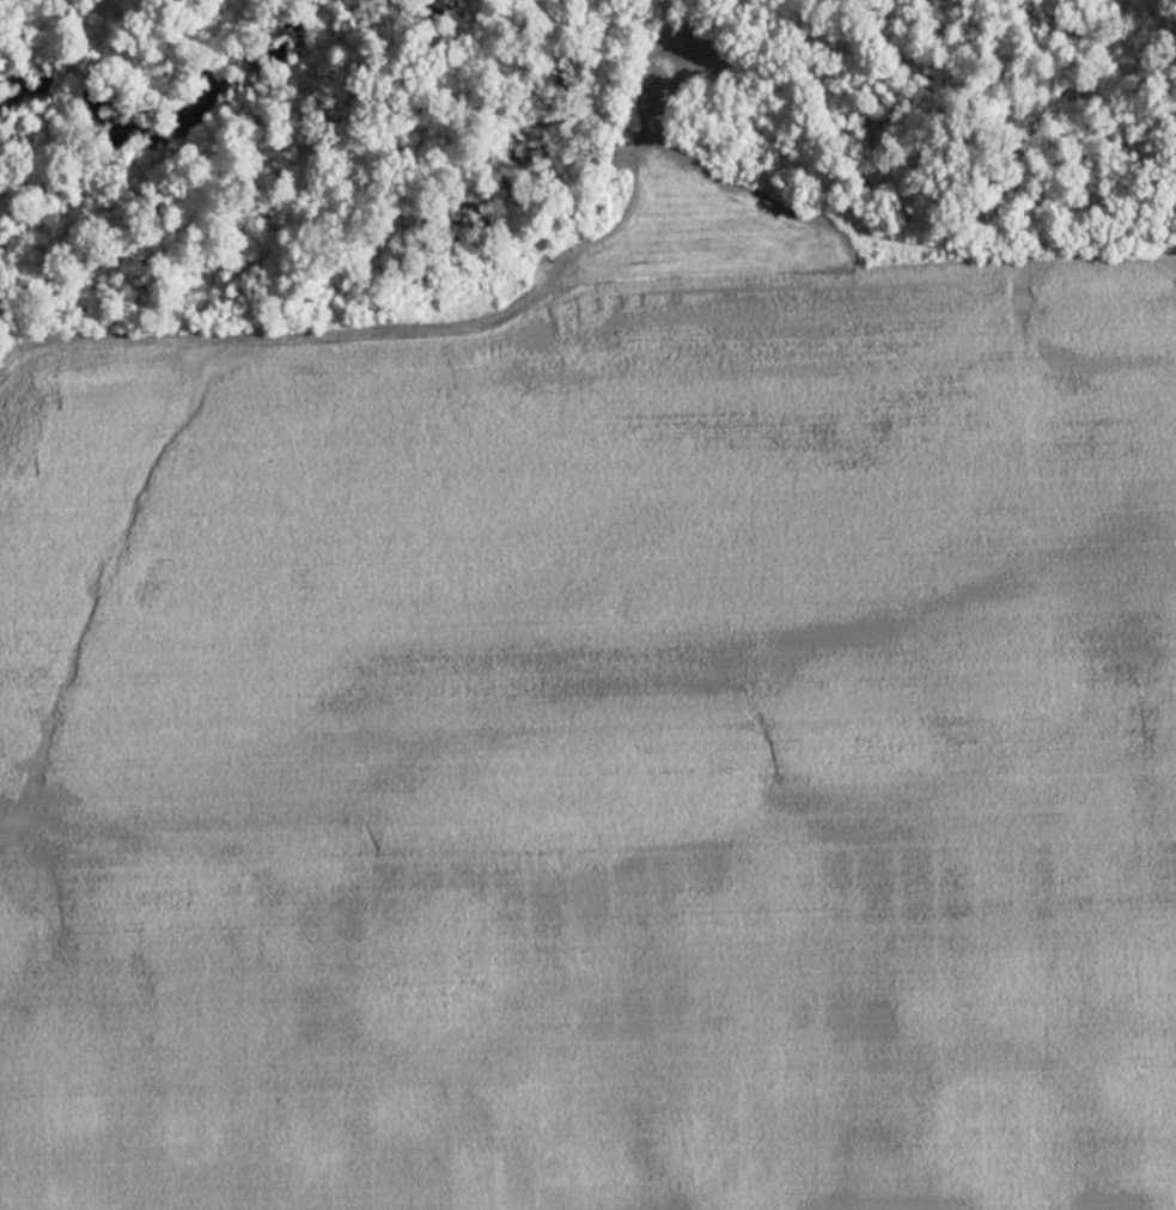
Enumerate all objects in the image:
crop: (599, 759)

